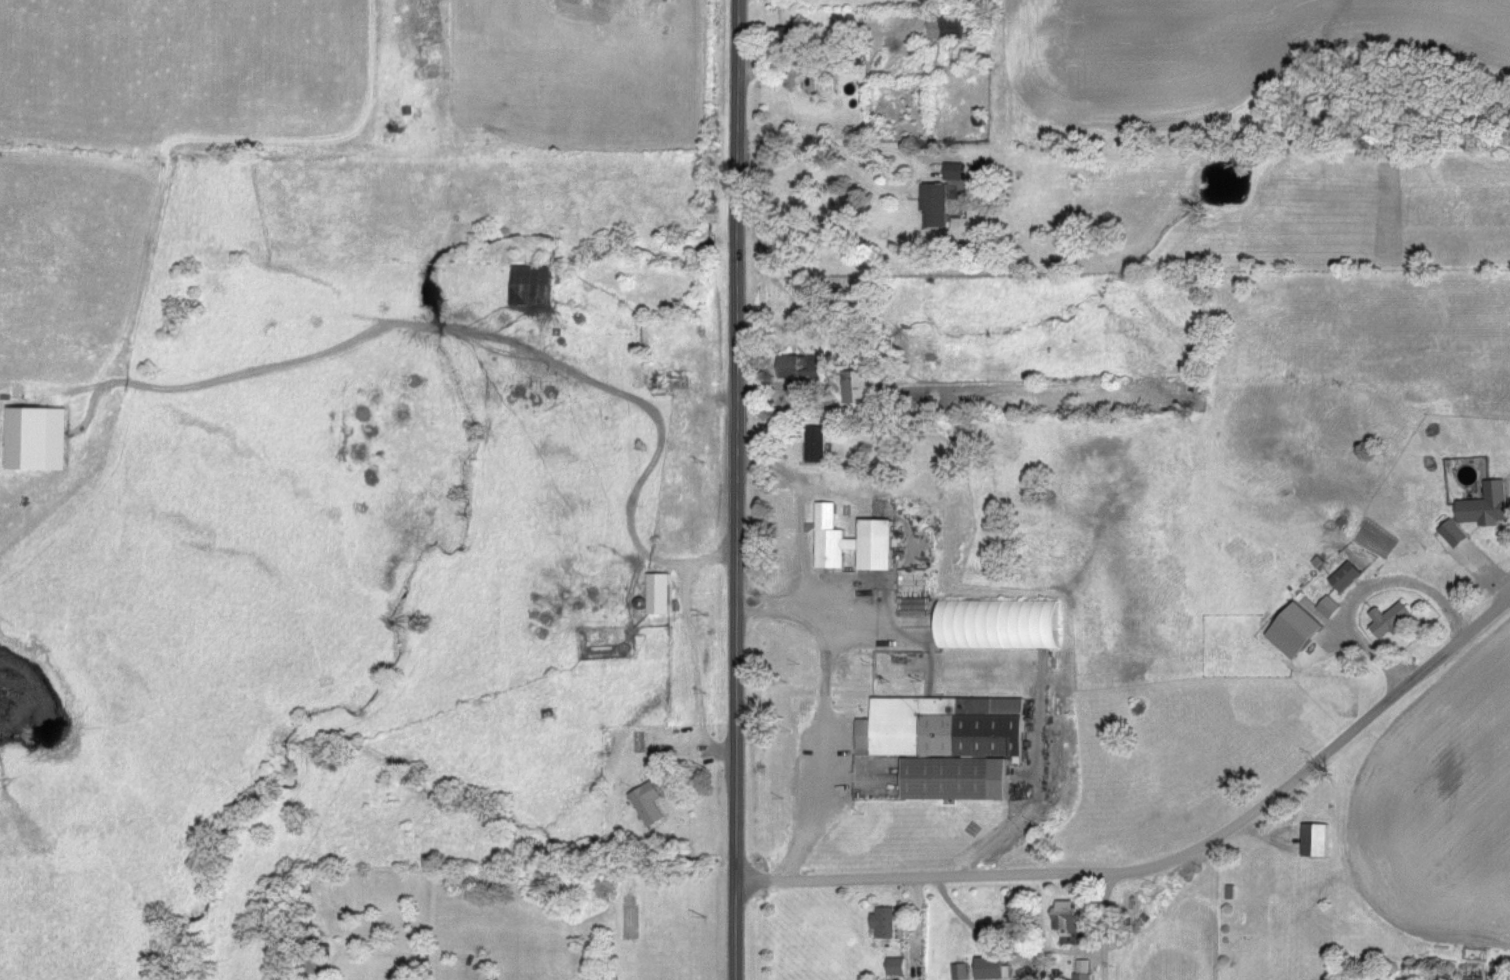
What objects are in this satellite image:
park: (658, 2)
building: (949, 29)
road: (881, 151)
building: (955, 173)
building: (937, 206)
building: (533, 286)
building: (792, 369)
building: (859, 388)
road: (657, 431)
building: (40, 439)
building: (818, 445)
road: (732, 490)
building: (1488, 507)
building: (1455, 535)
road: (798, 536)
building: (834, 540)
building: (880, 545)
building: (1348, 577)
building: (915, 594)
building: (661, 595)
building: (1331, 608)
building: (1392, 621)
building: (1003, 625)
building: (1299, 632)
road: (687, 648)
road: (1377, 709)
road: (819, 736)
building: (950, 745)
building: (651, 805)
road: (1013, 821)
building: (1319, 841)
road: (994, 874)
building: (1070, 919)
building: (887, 923)
road: (1103, 926)
building: (899, 968)
building: (994, 969)
building: (963, 972)
building: (1476, 979)

